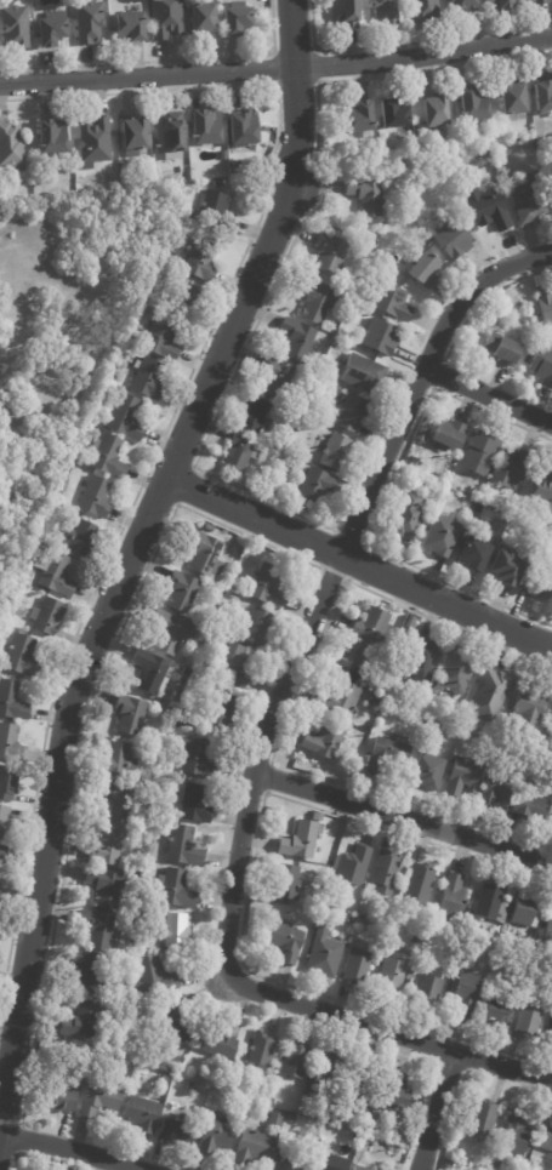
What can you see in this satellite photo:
building: (535, 2)
building: (499, 4)
building: (463, 5)
building: (423, 10)
building: (383, 11)
building: (345, 13)
building: (204, 18)
building: (167, 19)
building: (238, 19)
building: (90, 22)
building: (15, 24)
building: (131, 27)
building: (53, 30)
road: (277, 69)
building: (542, 96)
building: (511, 99)
building: (472, 105)
building: (433, 112)
building: (391, 115)
building: (358, 118)
building: (206, 125)
building: (246, 126)
building: (272, 131)
building: (172, 133)
building: (135, 135)
building: (52, 136)
building: (96, 141)
building: (12, 147)
building: (221, 183)
building: (454, 187)
building: (364, 196)
building: (523, 204)
building: (217, 206)
building: (485, 211)
building: (453, 239)
building: (329, 255)
building: (203, 263)
building: (372, 263)
building: (422, 270)
building: (192, 296)
building: (313, 301)
building: (388, 302)
building: (544, 308)
building: (366, 314)
building: (514, 332)
building: (377, 337)
building: (136, 338)
building: (163, 338)
building: (345, 339)
building: (295, 341)
building: (502, 350)
building: (541, 363)
building: (329, 369)
building: (357, 372)
building: (118, 378)
building: (149, 378)
building: (274, 378)
building: (36, 392)
road: (488, 395)
building: (351, 412)
building: (252, 416)
building: (127, 420)
building: (446, 433)
building: (238, 452)
building: (334, 452)
building: (477, 453)
building: (112, 456)
building: (507, 467)
building: (280, 478)
building: (314, 486)
building: (69, 489)
building: (541, 493)
building: (96, 497)
building: (406, 515)
building: (205, 527)
building: (544, 536)
building: (81, 537)
building: (439, 537)
building: (201, 553)
building: (470, 553)
road: (127, 554)
road: (357, 561)
building: (501, 567)
building: (61, 576)
building: (536, 584)
building: (267, 587)
building: (237, 589)
building: (180, 592)
building: (50, 616)
building: (1, 620)
building: (408, 623)
building: (366, 626)
building: (6, 628)
building: (256, 629)
building: (167, 634)
building: (211, 638)
building: (23, 657)
building: (347, 658)
building: (184, 661)
building: (420, 663)
building: (229, 664)
building: (149, 672)
building: (184, 673)
building: (453, 675)
building: (383, 690)
building: (485, 695)
building: (375, 698)
building: (338, 700)
building: (12, 702)
building: (528, 707)
building: (220, 710)
building: (129, 714)
building: (551, 720)
building: (324, 740)
building: (11, 742)
road: (257, 742)
building: (189, 754)
building: (386, 754)
building: (336, 759)
building: (113, 760)
building: (427, 772)
building: (462, 777)
building: (7, 783)
building: (499, 787)
building: (114, 801)
building: (190, 805)
building: (529, 806)
road: (400, 818)
building: (5, 823)
building: (551, 824)
building: (297, 841)
building: (182, 846)
building: (104, 847)
building: (4, 854)
building: (352, 867)
building: (383, 873)
building: (283, 883)
building: (417, 885)
building: (98, 888)
building: (176, 890)
building: (0, 892)
building: (453, 897)
building: (491, 904)
building: (520, 911)
building: (347, 918)
building: (546, 925)
building: (416, 926)
building: (246, 929)
building: (92, 930)
building: (173, 931)
building: (283, 942)
building: (142, 954)
building: (323, 955)
building: (355, 966)
building: (84, 971)
building: (389, 975)
building: (150, 980)
building: (427, 991)
building: (466, 993)
building: (493, 1014)
building: (524, 1020)
building: (76, 1022)
building: (167, 1031)
building: (548, 1034)
building: (217, 1044)
building: (258, 1049)
building: (294, 1061)
building: (331, 1065)
building: (160, 1069)
building: (163, 1080)
building: (234, 1089)
building: (187, 1090)
building: (357, 1091)
building: (392, 1092)
building: (59, 1098)
building: (97, 1101)
building: (269, 1102)
road: (434, 1112)
building: (141, 1115)
building: (374, 1117)
building: (290, 1118)
building: (273, 1120)
building: (480, 1123)
building: (173, 1129)
building: (216, 1136)
building: (512, 1137)
building: (547, 1138)
building: (363, 1141)
building: (328, 1145)
road: (70, 1148)
building: (251, 1149)
building: (288, 1162)
building: (328, 1163)
building: (494, 1164)
building: (445, 1166)
building: (529, 1168)
building: (357, 1169)

